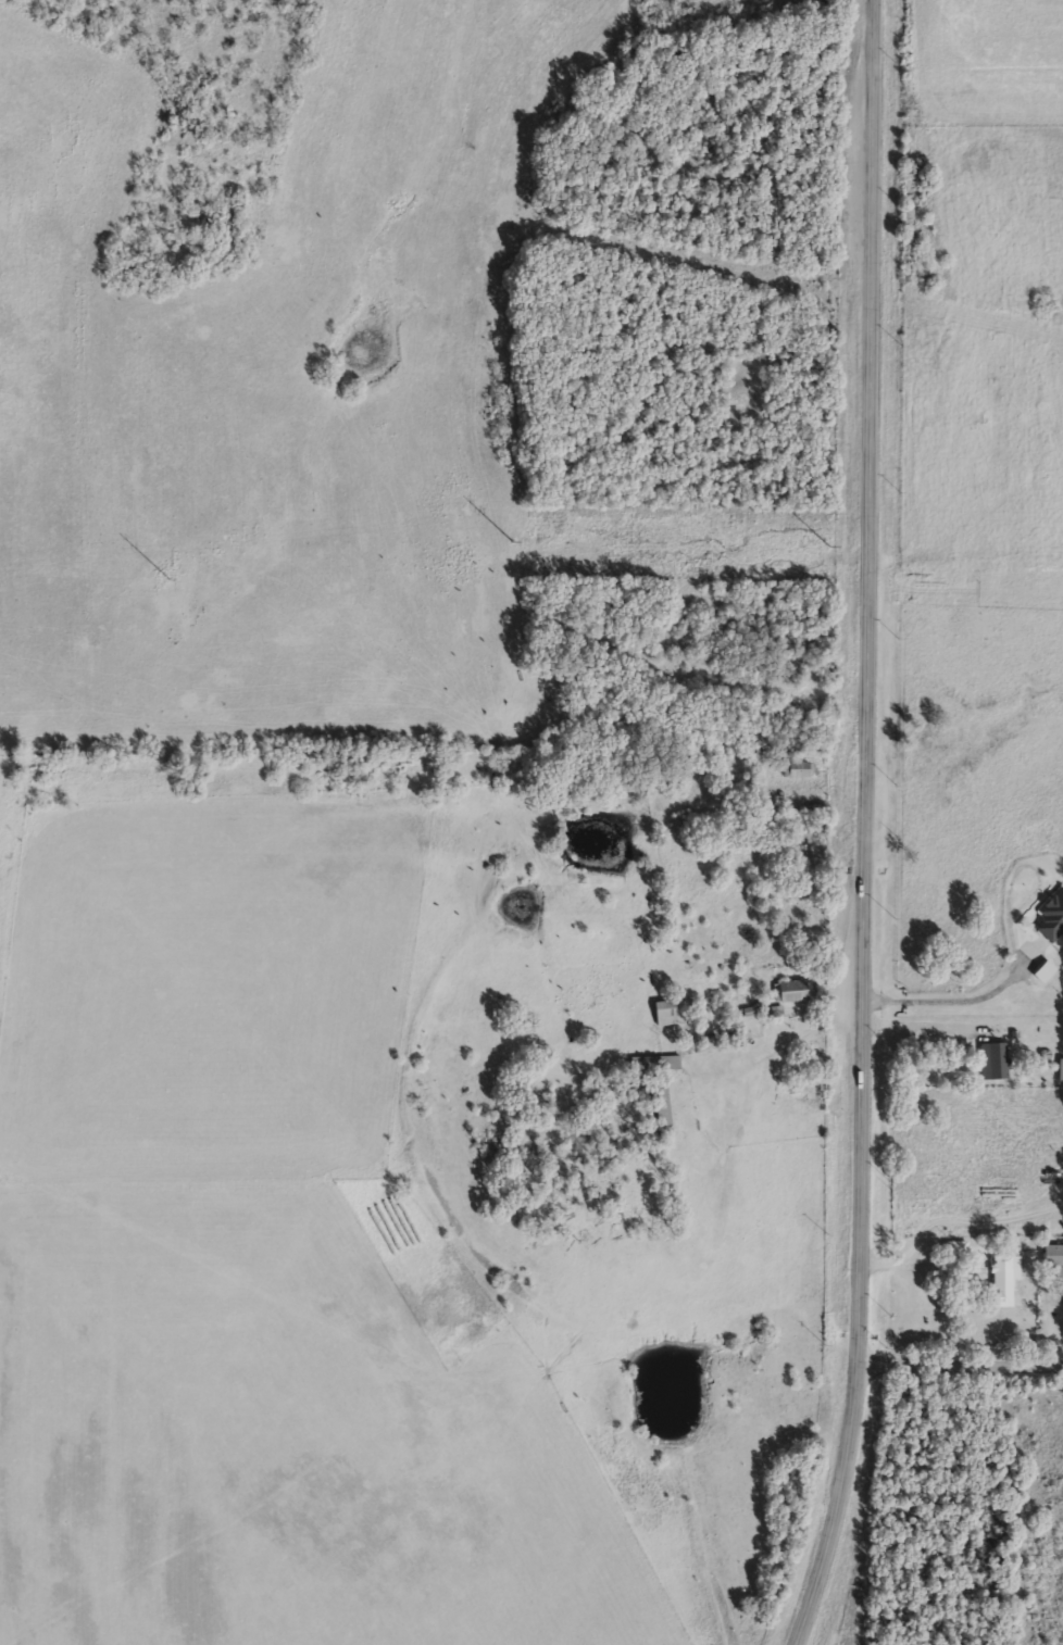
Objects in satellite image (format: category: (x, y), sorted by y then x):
building: (796, 768)
road: (866, 826)
building: (1050, 915)
building: (789, 990)
building: (664, 1012)
building: (991, 1059)
building: (653, 1062)
building: (658, 1108)
building: (955, 1247)
building: (1053, 1257)
building: (1001, 1280)
road: (960, 1364)

